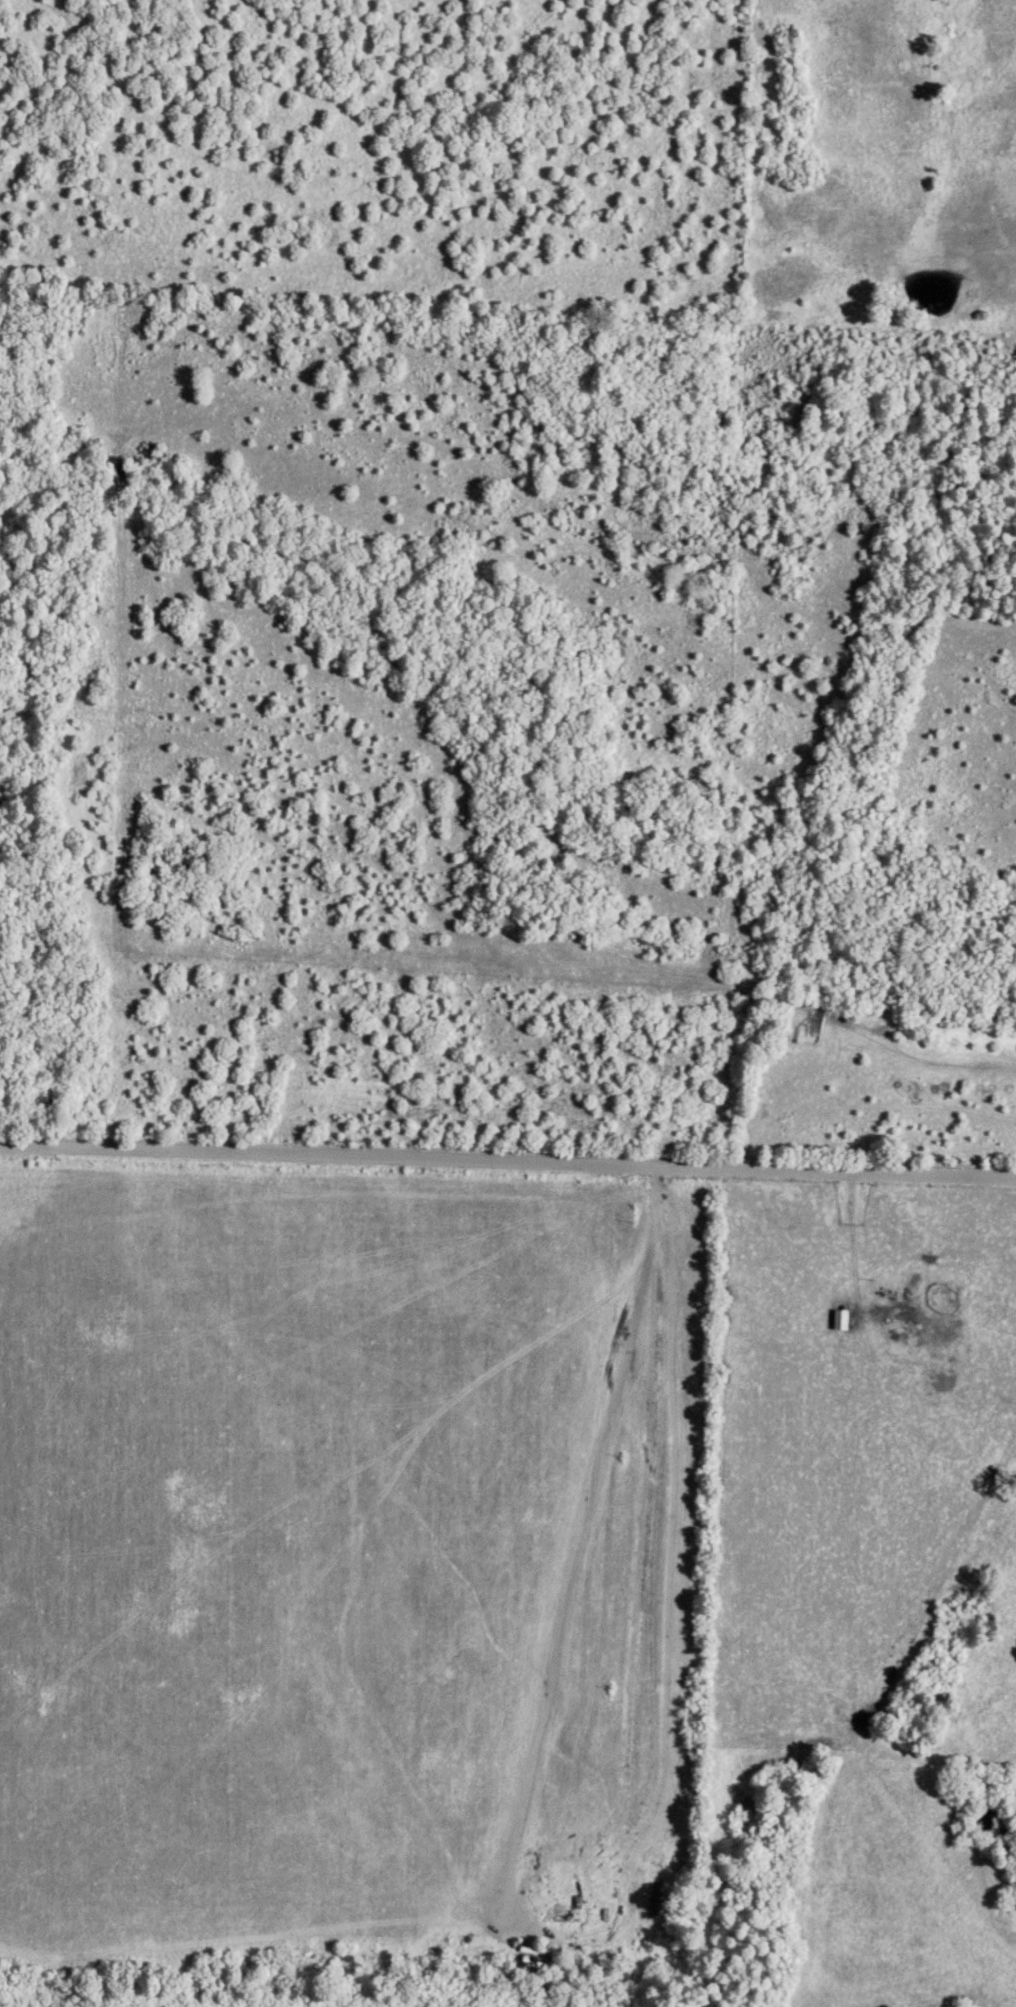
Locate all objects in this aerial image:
road: (508, 1165)
building: (557, 1919)
building: (552, 1959)

